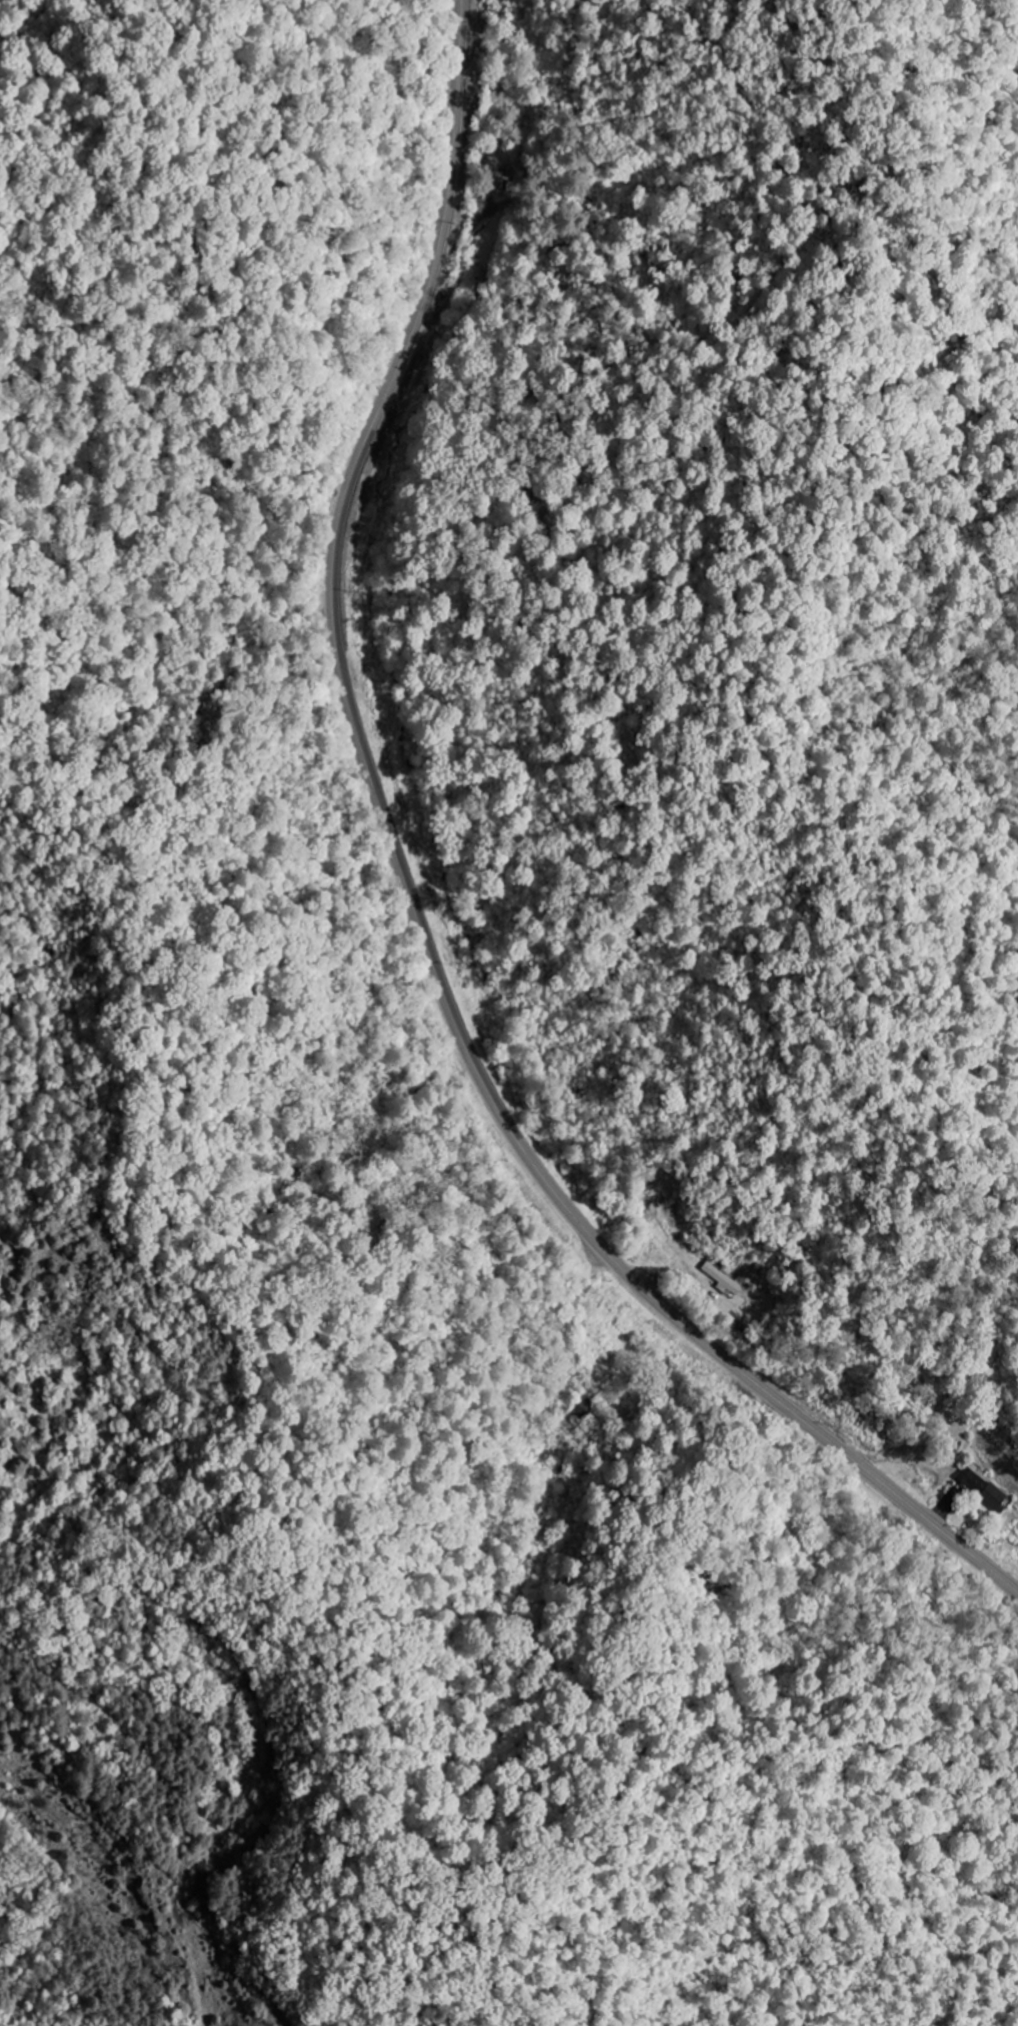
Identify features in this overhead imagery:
road: (412, 905)
building: (720, 1278)
building: (982, 1492)

